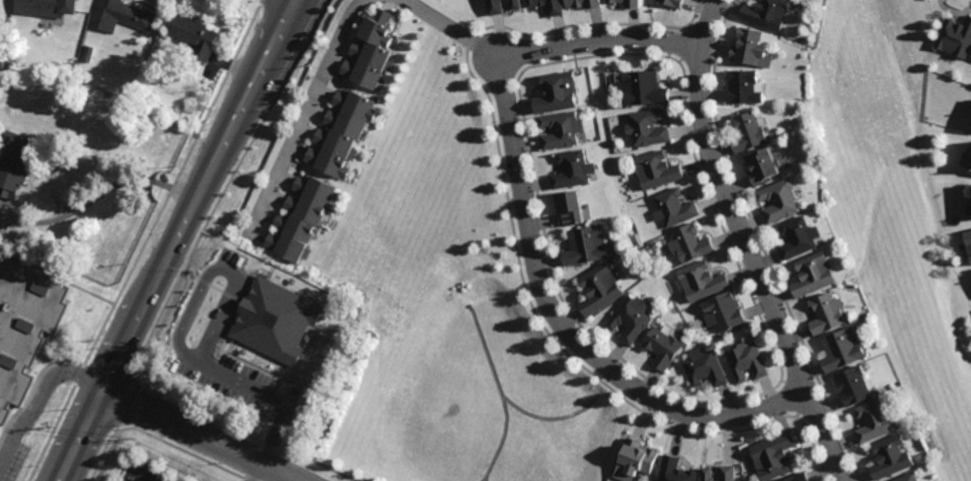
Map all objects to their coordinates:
building: (611, 0)
building: (582, 2)
building: (632, 2)
building: (674, 2)
road: (296, 3)
building: (516, 4)
building: (54, 5)
building: (548, 5)
building: (495, 6)
building: (766, 13)
building: (122, 15)
road: (447, 25)
building: (197, 35)
building: (957, 36)
building: (750, 48)
building: (370, 49)
building: (88, 53)
road: (242, 80)
road: (263, 85)
building: (744, 86)
building: (643, 87)
building: (556, 92)
road: (303, 113)
building: (647, 127)
building: (561, 129)
building: (748, 132)
building: (341, 133)
building: (970, 151)
building: (763, 165)
building: (16, 166)
building: (970, 167)
building: (571, 169)
building: (656, 169)
building: (780, 200)
building: (568, 208)
building: (673, 208)
building: (300, 218)
road: (529, 225)
building: (799, 237)
building: (690, 244)
building: (585, 245)
road: (747, 245)
building: (969, 245)
road: (218, 269)
building: (815, 274)
building: (701, 281)
building: (598, 290)
building: (723, 312)
building: (828, 313)
building: (278, 319)
building: (630, 319)
road: (135, 323)
building: (24, 327)
building: (662, 348)
building: (843, 350)
building: (747, 362)
building: (704, 368)
building: (855, 385)
road: (268, 396)
road: (37, 397)
building: (876, 421)
road: (200, 435)
building: (774, 456)
building: (891, 458)
building: (635, 460)
building: (675, 470)
road: (255, 472)
building: (728, 473)
building: (707, 474)
road: (145, 477)
building: (800, 478)
building: (907, 478)

